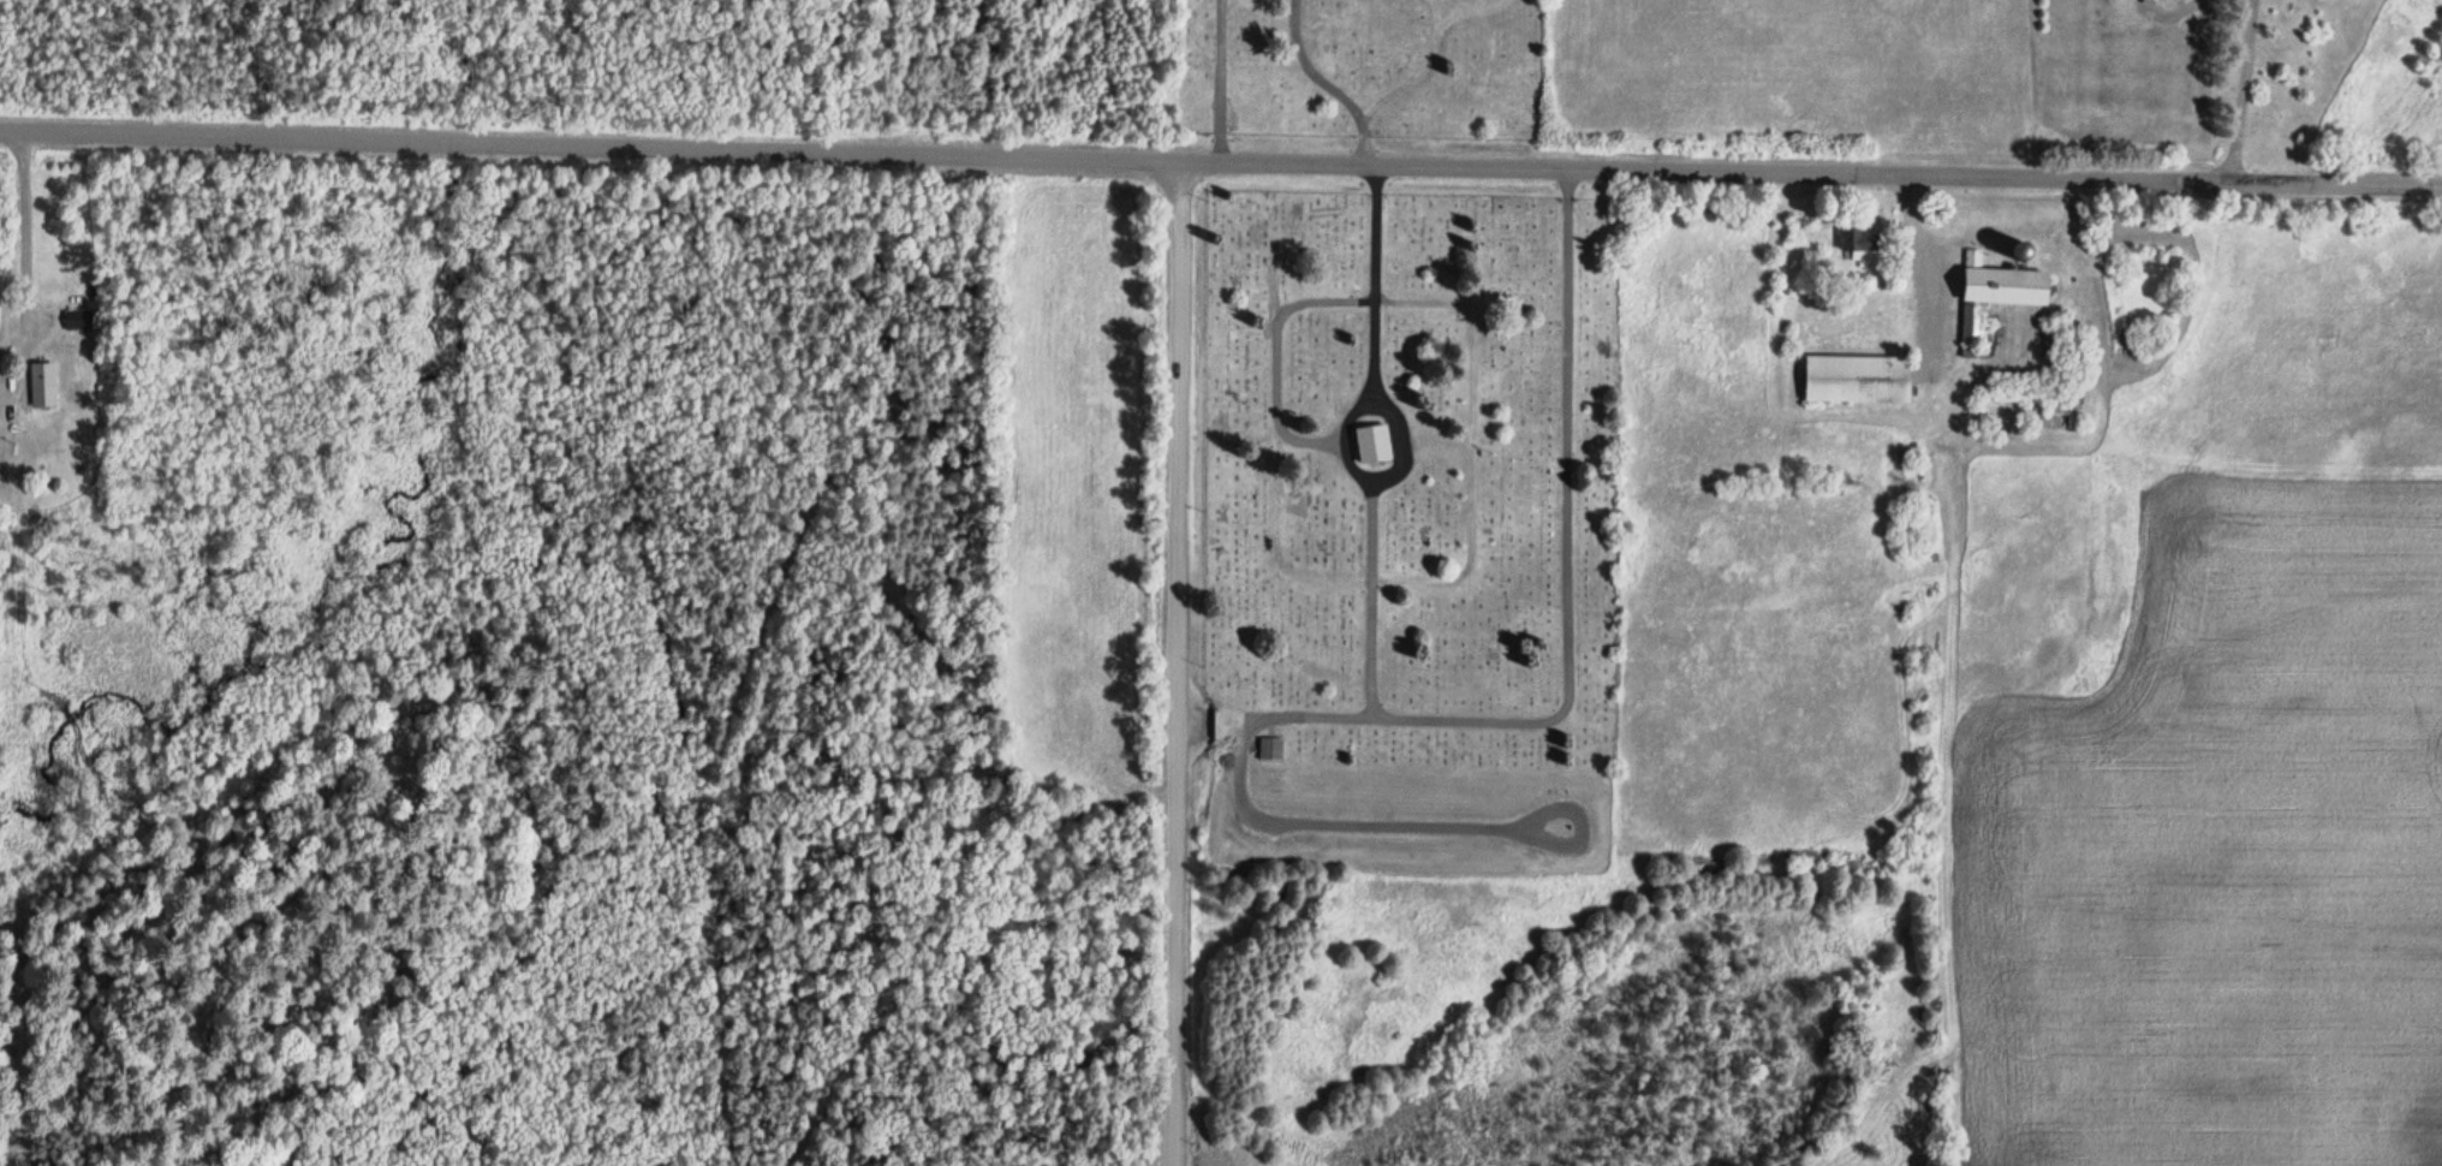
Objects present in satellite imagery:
road: (1475, 14)
road: (1419, 71)
road: (1221, 82)
road: (2244, 93)
road: (14, 132)
road: (1235, 163)
building: (1860, 245)
building: (1994, 296)
building: (78, 320)
road: (1280, 359)
road: (1374, 363)
building: (1856, 380)
building: (42, 386)
park: (1393, 392)
road: (1340, 440)
road: (1437, 441)
building: (1372, 445)
road: (1470, 555)
road: (1570, 584)
road: (1181, 666)
building: (1269, 750)

